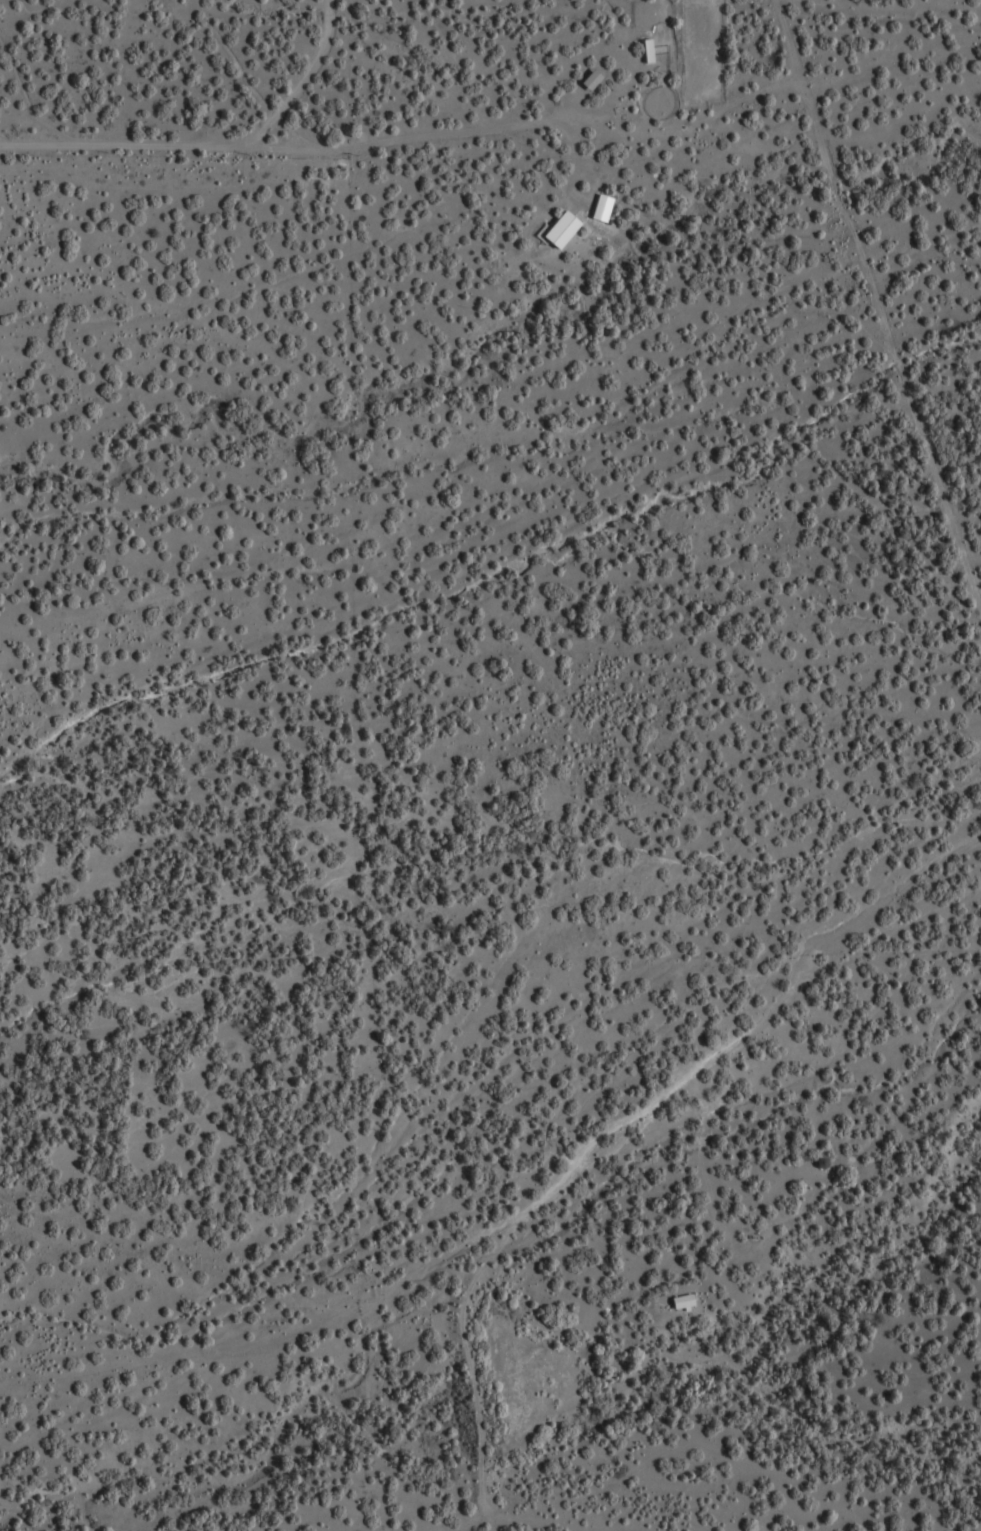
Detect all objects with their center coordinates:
building: (597, 80)
building: (567, 230)
building: (689, 1302)
road: (324, 1320)
road: (121, 1513)

